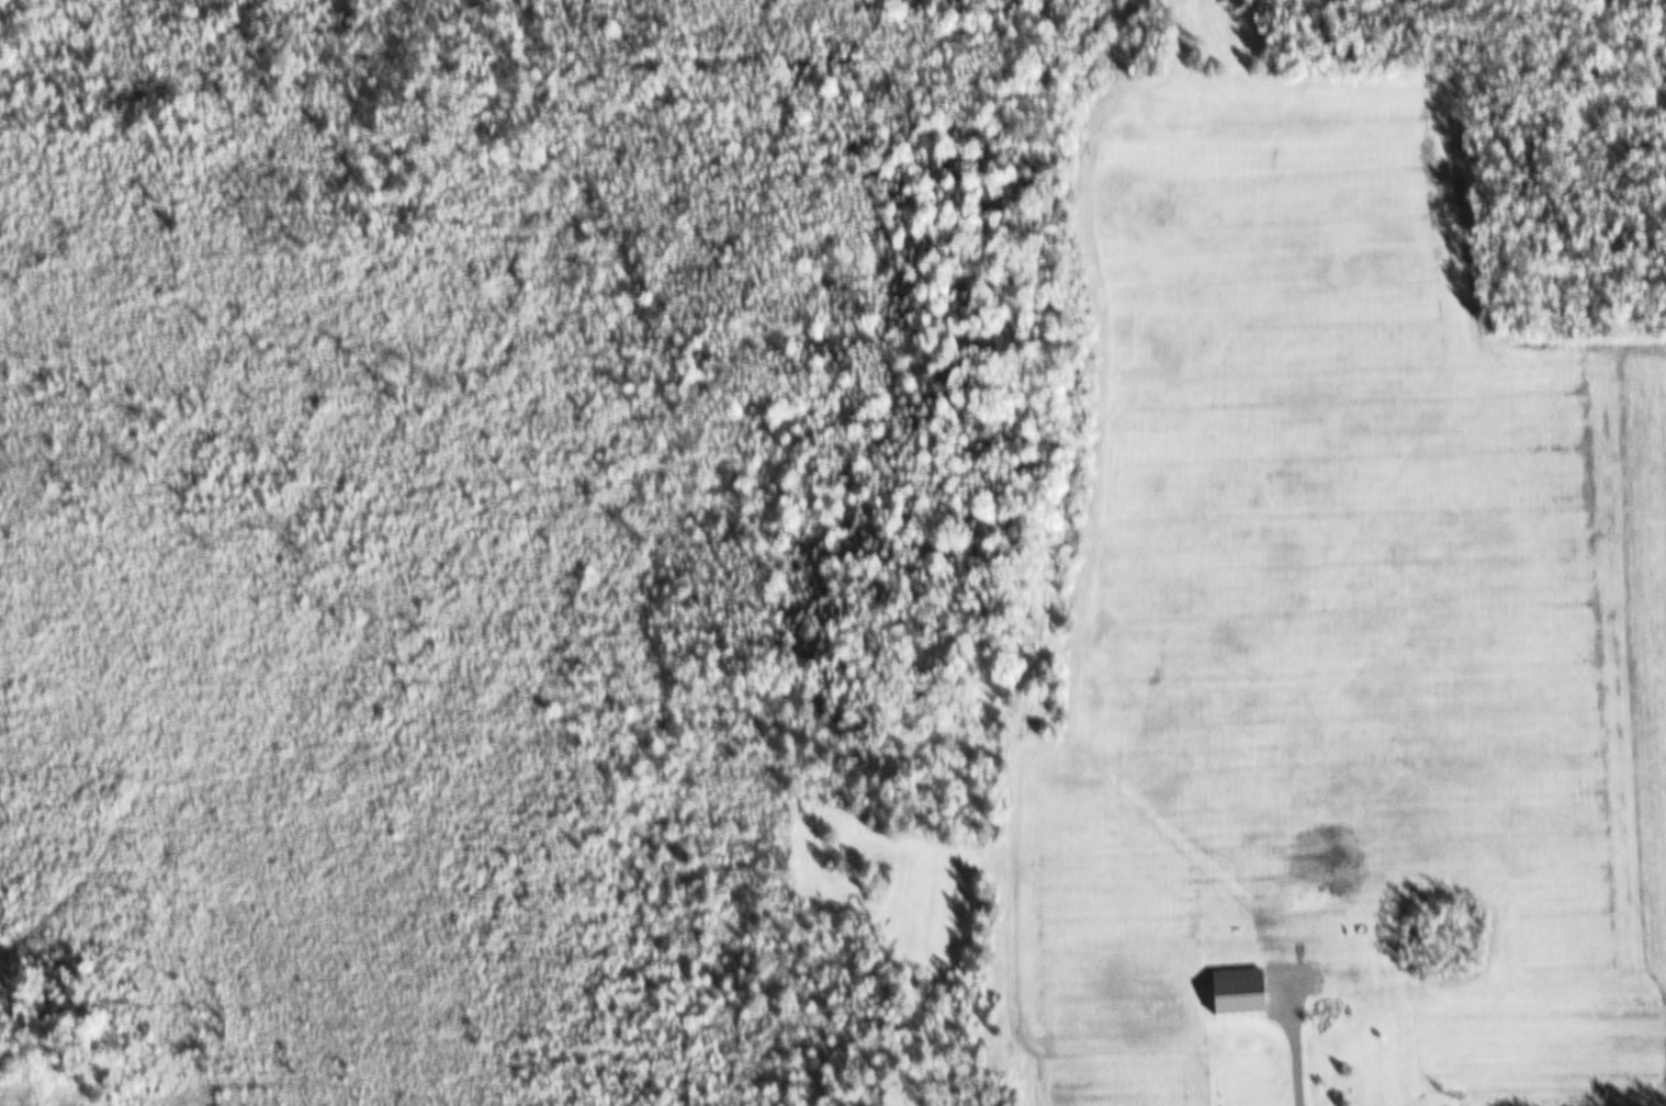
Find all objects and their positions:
building: (1235, 994)
road: (1297, 1034)

